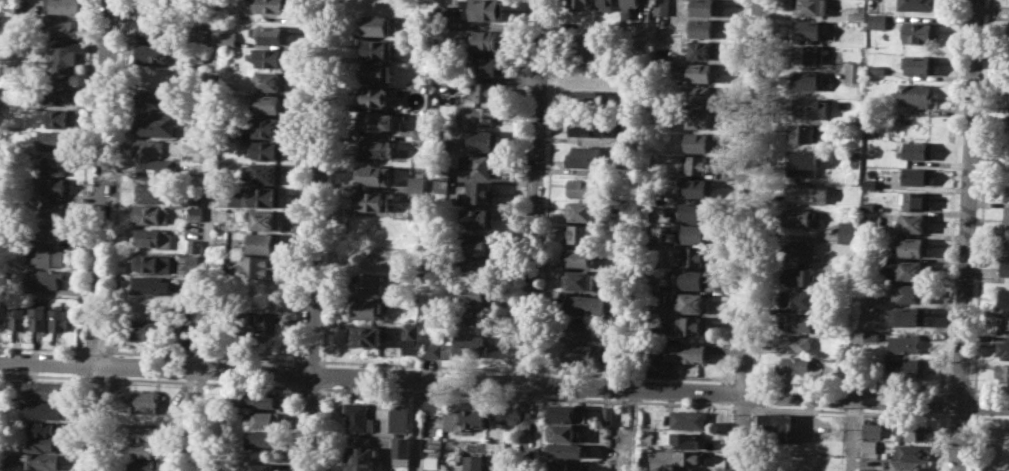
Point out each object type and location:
building: (921, 4)
building: (581, 5)
building: (607, 5)
building: (11, 6)
building: (63, 6)
building: (271, 6)
building: (660, 7)
building: (705, 7)
building: (811, 7)
building: (629, 8)
building: (148, 10)
building: (487, 10)
building: (856, 15)
building: (441, 16)
building: (877, 20)
building: (378, 25)
building: (701, 27)
building: (60, 28)
building: (808, 28)
building: (157, 29)
building: (921, 32)
building: (273, 33)
building: (229, 38)
building: (487, 41)
building: (376, 48)
building: (702, 48)
building: (588, 50)
building: (154, 53)
building: (808, 53)
building: (272, 56)
building: (196, 57)
building: (62, 59)
building: (921, 64)
building: (487, 66)
building: (854, 71)
building: (377, 73)
building: (698, 73)
building: (806, 80)
building: (272, 81)
building: (488, 90)
building: (58, 93)
building: (916, 93)
building: (703, 95)
building: (374, 96)
building: (153, 98)
building: (586, 99)
building: (271, 103)
building: (812, 107)
building: (481, 114)
building: (62, 118)
building: (701, 118)
building: (1008, 118)
building: (376, 120)
building: (154, 124)
building: (589, 125)
building: (269, 127)
building: (1008, 129)
building: (803, 132)
building: (55, 140)
building: (482, 140)
building: (700, 142)
building: (153, 148)
building: (268, 149)
building: (376, 149)
building: (919, 151)
building: (586, 156)
building: (804, 162)
building: (478, 164)
building: (698, 164)
building: (56, 165)
building: (155, 168)
building: (267, 173)
building: (372, 175)
road: (84, 176)
building: (917, 176)
road: (114, 178)
building: (442, 179)
road: (301, 182)
road: (331, 182)
building: (417, 183)
building: (870, 183)
building: (53, 185)
road: (518, 186)
building: (698, 186)
road: (548, 187)
building: (585, 187)
building: (152, 191)
road: (734, 191)
building: (481, 192)
road: (765, 192)
building: (807, 192)
building: (1006, 194)
road: (951, 196)
building: (267, 197)
road: (981, 197)
building: (370, 200)
building: (916, 200)
building: (867, 206)
building: (57, 209)
building: (417, 210)
building: (698, 210)
building: (583, 211)
building: (196, 212)
building: (151, 214)
building: (1006, 214)
building: (478, 217)
building: (801, 217)
building: (268, 220)
building: (913, 223)
building: (849, 230)
building: (56, 233)
building: (582, 233)
building: (698, 234)
road: (96, 235)
road: (207, 235)
road: (316, 235)
road: (533, 235)
road: (749, 235)
road: (967, 235)
building: (150, 236)
building: (1008, 238)
building: (267, 242)
building: (479, 243)
building: (195, 246)
building: (914, 247)
building: (802, 252)
building: (46, 256)
building: (581, 256)
building: (698, 256)
building: (149, 263)
building: (189, 265)
building: (259, 266)
building: (1005, 267)
building: (478, 269)
building: (848, 269)
building: (911, 269)
building: (800, 276)
building: (46, 277)
building: (696, 279)
building: (580, 280)
building: (369, 282)
building: (152, 284)
building: (477, 293)
building: (912, 293)
building: (1004, 297)
building: (799, 299)
building: (693, 302)
building: (585, 305)
building: (366, 308)
building: (3, 314)
building: (18, 315)
building: (911, 315)
building: (39, 316)
building: (478, 316)
building: (60, 318)
building: (798, 322)
building: (259, 323)
building: (693, 324)
building: (828, 326)
building: (1004, 326)
building: (148, 330)
building: (580, 330)
building: (412, 331)
building: (366, 335)
building: (873, 335)
building: (191, 341)
building: (907, 343)
building: (797, 344)
building: (472, 346)
road: (42, 348)
building: (433, 349)
building: (1003, 349)
road: (93, 350)
building: (685, 353)
road: (201, 354)
building: (580, 354)
road: (309, 360)
road: (77, 362)
road: (109, 364)
road: (417, 365)
building: (795, 365)
road: (526, 369)
building: (907, 369)
building: (1003, 372)
road: (293, 374)
road: (634, 374)
road: (41, 375)
road: (323, 376)
road: (92, 377)
road: (743, 378)
road: (200, 381)
road: (504, 381)
road: (511, 382)
road: (541, 383)
road: (850, 383)
road: (307, 387)
road: (958, 388)
building: (44, 389)
road: (988, 389)
road: (417, 391)
road: (727, 393)
road: (757, 394)
road: (525, 396)
building: (189, 398)
building: (263, 399)
building: (146, 400)
road: (633, 400)
road: (943, 402)
road: (973, 404)
road: (741, 406)
building: (428, 407)
road: (753, 407)
building: (44, 409)
road: (877, 412)
building: (568, 414)
building: (608, 414)
building: (359, 416)
road: (943, 416)
road: (958, 416)
building: (400, 417)
road: (988, 417)
building: (267, 419)
building: (476, 419)
building: (688, 419)
road: (74, 421)
road: (107, 422)
road: (417, 425)
building: (45, 427)
road: (291, 428)
road: (321, 428)
building: (780, 428)
road: (508, 430)
road: (634, 430)
building: (873, 430)
road: (538, 431)
building: (913, 431)
building: (144, 432)
building: (565, 432)
road: (849, 435)
road: (753, 436)
building: (262, 437)
road: (727, 437)
building: (687, 439)
road: (971, 442)
building: (39, 443)
building: (1006, 444)
building: (870, 445)
building: (142, 449)
building: (402, 450)
building: (564, 450)
building: (912, 451)
building: (363, 458)
building: (675, 458)
building: (41, 460)
building: (432, 462)
building: (470, 463)
building: (141, 465)
building: (567, 465)
building: (909, 465)
building: (262, 467)
building: (867, 469)
building: (36, 470)
building: (779, 470)

